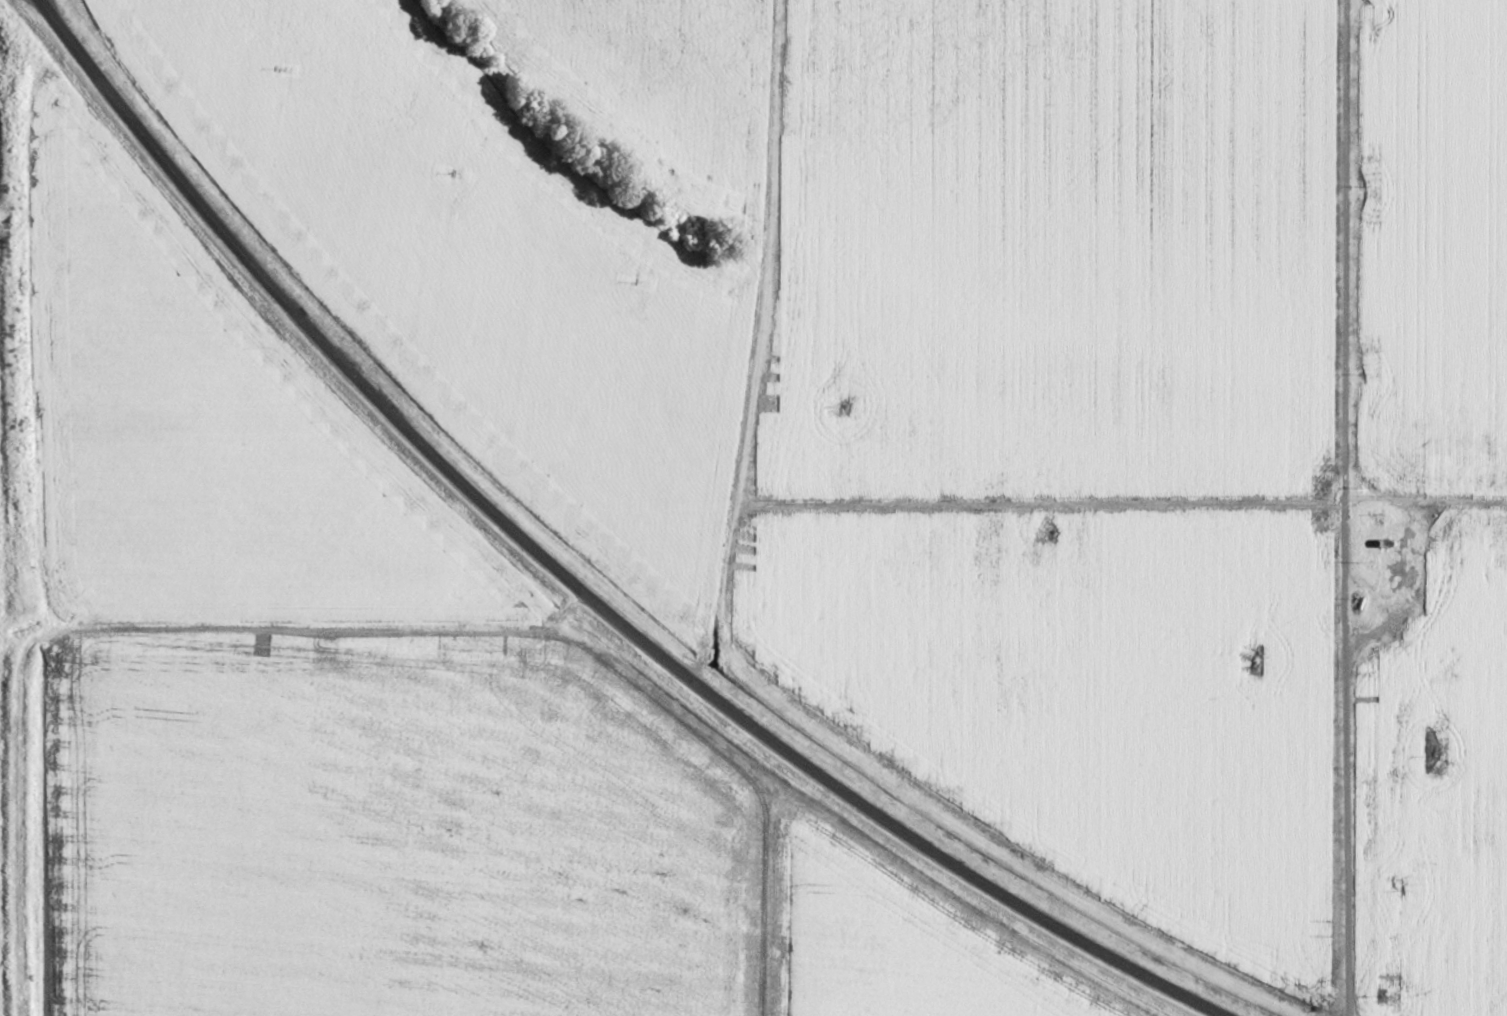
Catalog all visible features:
road: (1347, 507)
road: (567, 581)

